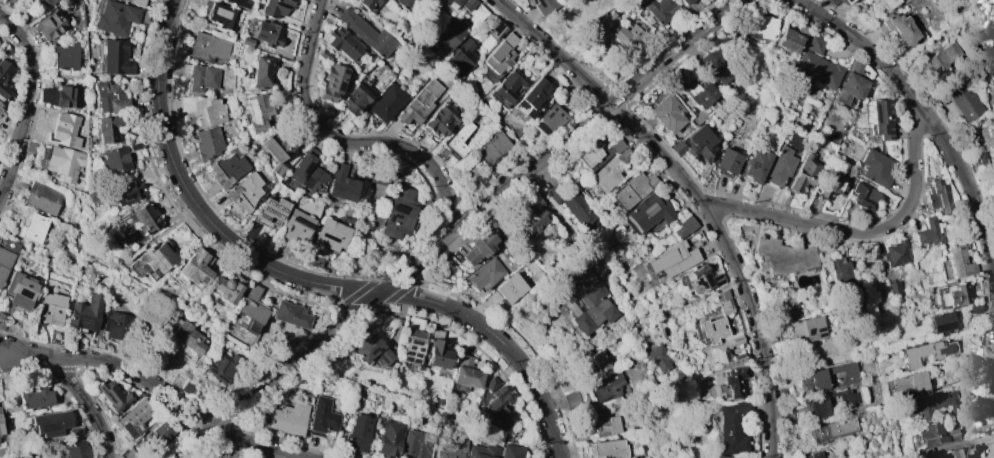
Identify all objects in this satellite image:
building: (48, 1)
building: (137, 2)
building: (685, 2)
building: (838, 2)
building: (240, 3)
building: (368, 3)
building: (451, 3)
building: (889, 3)
building: (407, 4)
building: (467, 4)
building: (543, 6)
building: (275, 7)
building: (659, 9)
building: (222, 16)
building: (115, 18)
building: (51, 24)
building: (753, 25)
building: (993, 26)
building: (493, 29)
building: (898, 29)
building: (450, 32)
building: (267, 33)
building: (366, 33)
building: (630, 36)
building: (791, 39)
building: (246, 42)
building: (342, 43)
building: (815, 45)
building: (208, 48)
building: (993, 54)
building: (325, 55)
building: (64, 56)
building: (944, 57)
building: (116, 58)
building: (498, 58)
building: (525, 58)
building: (460, 61)
building: (716, 66)
building: (991, 66)
building: (817, 70)
building: (261, 72)
building: (202, 77)
building: (3, 78)
building: (331, 82)
building: (851, 84)
building: (507, 87)
building: (700, 92)
building: (61, 96)
building: (110, 97)
building: (532, 97)
building: (355, 99)
building: (964, 101)
building: (420, 102)
building: (387, 103)
road: (29, 104)
building: (202, 108)
building: (0, 109)
building: (257, 112)
building: (667, 113)
road: (926, 114)
building: (549, 119)
building: (880, 119)
building: (441, 120)
building: (110, 126)
building: (65, 129)
building: (457, 140)
building: (208, 143)
road: (345, 143)
building: (695, 144)
building: (135, 146)
building: (31, 147)
building: (276, 151)
building: (596, 152)
building: (624, 155)
building: (490, 158)
building: (982, 158)
building: (115, 159)
building: (64, 162)
building: (727, 162)
building: (756, 165)
building: (780, 166)
building: (227, 167)
building: (876, 168)
building: (307, 170)
building: (805, 173)
building: (606, 175)
building: (341, 184)
building: (831, 186)
building: (633, 189)
building: (126, 192)
building: (244, 192)
road: (698, 193)
building: (91, 196)
building: (865, 196)
building: (938, 196)
building: (41, 197)
building: (571, 205)
building: (993, 205)
building: (649, 210)
building: (270, 212)
building: (398, 213)
building: (143, 217)
road: (560, 219)
building: (534, 221)
building: (32, 227)
building: (296, 227)
building: (684, 227)
road: (457, 229)
building: (929, 232)
road: (861, 233)
building: (329, 235)
building: (9, 246)
building: (478, 247)
building: (896, 254)
building: (156, 256)
building: (781, 257)
building: (672, 259)
building: (959, 262)
building: (4, 263)
building: (194, 267)
building: (485, 274)
building: (839, 274)
building: (701, 279)
road: (301, 280)
building: (226, 288)
building: (510, 288)
building: (20, 289)
road: (727, 289)
building: (894, 289)
building: (952, 295)
building: (587, 300)
building: (723, 303)
building: (252, 306)
building: (53, 307)
building: (85, 312)
building: (290, 315)
building: (942, 322)
building: (116, 325)
road: (634, 327)
building: (712, 329)
building: (806, 329)
building: (187, 337)
building: (412, 348)
building: (371, 349)
building: (436, 350)
building: (928, 352)
building: (726, 353)
building: (658, 358)
building: (597, 362)
building: (223, 367)
building: (466, 373)
building: (679, 375)
building: (830, 376)
building: (733, 380)
road: (71, 383)
road: (157, 384)
building: (490, 384)
building: (605, 385)
building: (909, 385)
building: (190, 387)
building: (112, 395)
building: (34, 399)
building: (572, 399)
building: (817, 405)
building: (937, 405)
building: (497, 406)
building: (0, 414)
building: (322, 417)
building: (133, 418)
building: (289, 418)
building: (50, 423)
building: (1, 427)
building: (606, 427)
building: (731, 427)
building: (833, 429)
building: (358, 432)
building: (160, 433)
building: (935, 434)
building: (390, 439)
building: (416, 445)
building: (452, 445)
building: (75, 448)
building: (610, 448)
building: (511, 451)
building: (963, 451)
building: (482, 452)
building: (923, 453)
building: (129, 454)
building: (813, 455)
building: (138, 457)
building: (720, 457)
building: (744, 457)

